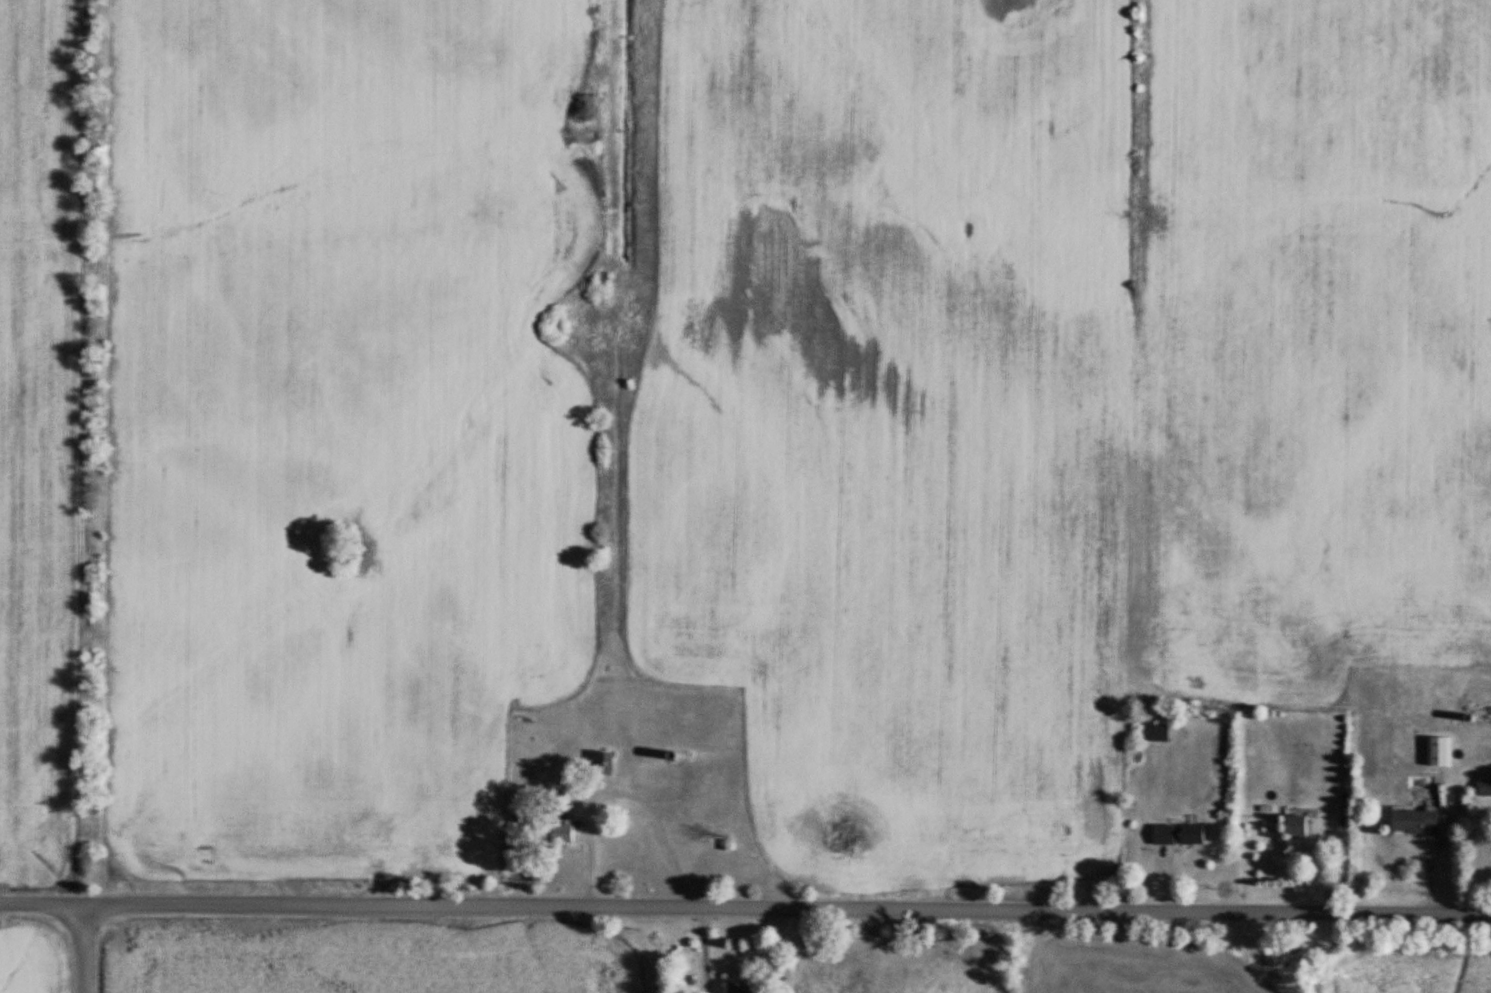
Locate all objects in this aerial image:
building: (1157, 734)
building: (1440, 752)
building: (604, 764)
building: (1483, 786)
building: (1415, 823)
building: (1295, 826)
building: (561, 831)
building: (1178, 835)
road: (745, 908)
road: (84, 947)
building: (740, 988)

